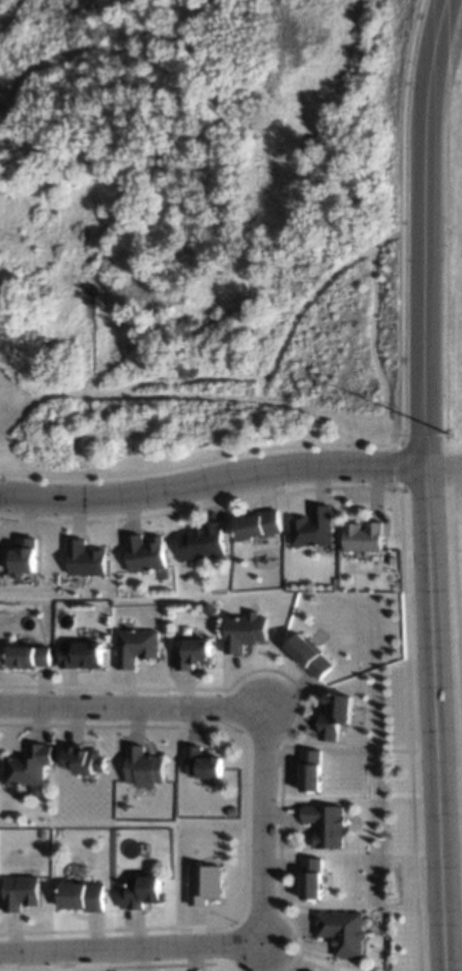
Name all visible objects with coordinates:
road: (3, 6)
road: (394, 212)
road: (421, 232)
park: (198, 233)
road: (299, 296)
road: (364, 331)
road: (11, 396)
road: (191, 397)
power tower: (449, 441)
road: (210, 480)
building: (257, 525)
building: (312, 528)
building: (362, 537)
building: (202, 542)
building: (144, 553)
building: (22, 557)
building: (83, 559)
building: (244, 631)
park: (453, 642)
building: (135, 647)
building: (192, 653)
building: (79, 655)
building: (309, 655)
building: (28, 657)
road: (126, 708)
building: (334, 715)
road: (430, 718)
building: (83, 759)
building: (200, 763)
building: (28, 766)
building: (143, 767)
building: (310, 770)
road: (254, 821)
building: (325, 825)
building: (310, 878)
building: (203, 884)
building: (21, 892)
building: (140, 892)
building: (81, 896)
building: (341, 932)
road: (128, 947)

